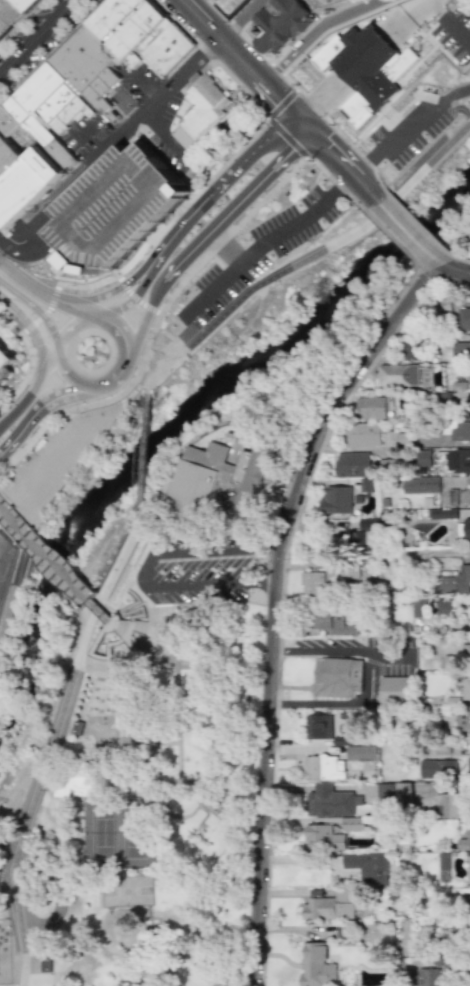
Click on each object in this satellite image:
building: (230, 7)
building: (12, 12)
building: (280, 26)
road: (323, 34)
road: (38, 37)
road: (246, 65)
building: (393, 69)
traffic signals: (289, 108)
building: (200, 111)
road: (131, 130)
road: (410, 130)
road: (206, 144)
traffic signals: (327, 148)
traffic signals: (288, 153)
road: (345, 167)
building: (28, 187)
road: (202, 199)
building: (116, 208)
parking garage: (116, 208)
road: (180, 212)
road: (223, 216)
road: (407, 231)
road: (35, 250)
road: (229, 253)
road: (308, 257)
road: (267, 258)
road: (438, 262)
road: (455, 271)
road: (56, 274)
road: (132, 276)
road: (30, 287)
road: (93, 299)
road: (135, 300)
building: (441, 303)
road: (33, 310)
road: (77, 310)
road: (114, 310)
building: (463, 319)
road: (29, 327)
road: (137, 333)
road: (119, 334)
building: (409, 346)
building: (460, 350)
building: (7, 359)
road: (40, 372)
building: (468, 374)
building: (395, 375)
road: (58, 396)
building: (370, 407)
building: (467, 407)
road: (15, 410)
river: (178, 421)
road: (20, 429)
building: (459, 430)
building: (362, 434)
road: (142, 449)
building: (422, 458)
building: (457, 460)
building: (351, 464)
building: (212, 483)
building: (364, 485)
building: (419, 485)
building: (465, 497)
building: (335, 500)
building: (441, 513)
road: (36, 516)
building: (364, 523)
building: (466, 527)
building: (357, 540)
road: (130, 562)
road: (57, 570)
building: (325, 580)
building: (453, 582)
road: (274, 601)
building: (417, 606)
building: (443, 607)
building: (330, 622)
building: (464, 652)
road: (82, 666)
road: (370, 676)
building: (337, 677)
building: (394, 688)
building: (465, 689)
building: (318, 726)
building: (441, 749)
building: (359, 753)
building: (468, 767)
building: (323, 768)
building: (436, 769)
building: (79, 784)
park: (132, 786)
building: (402, 791)
building: (383, 794)
building: (329, 801)
building: (447, 805)
building: (351, 824)
building: (321, 838)
building: (463, 841)
building: (441, 861)
building: (467, 868)
building: (369, 869)
road: (17, 904)
building: (329, 905)
building: (468, 906)
building: (316, 966)
building: (423, 977)

